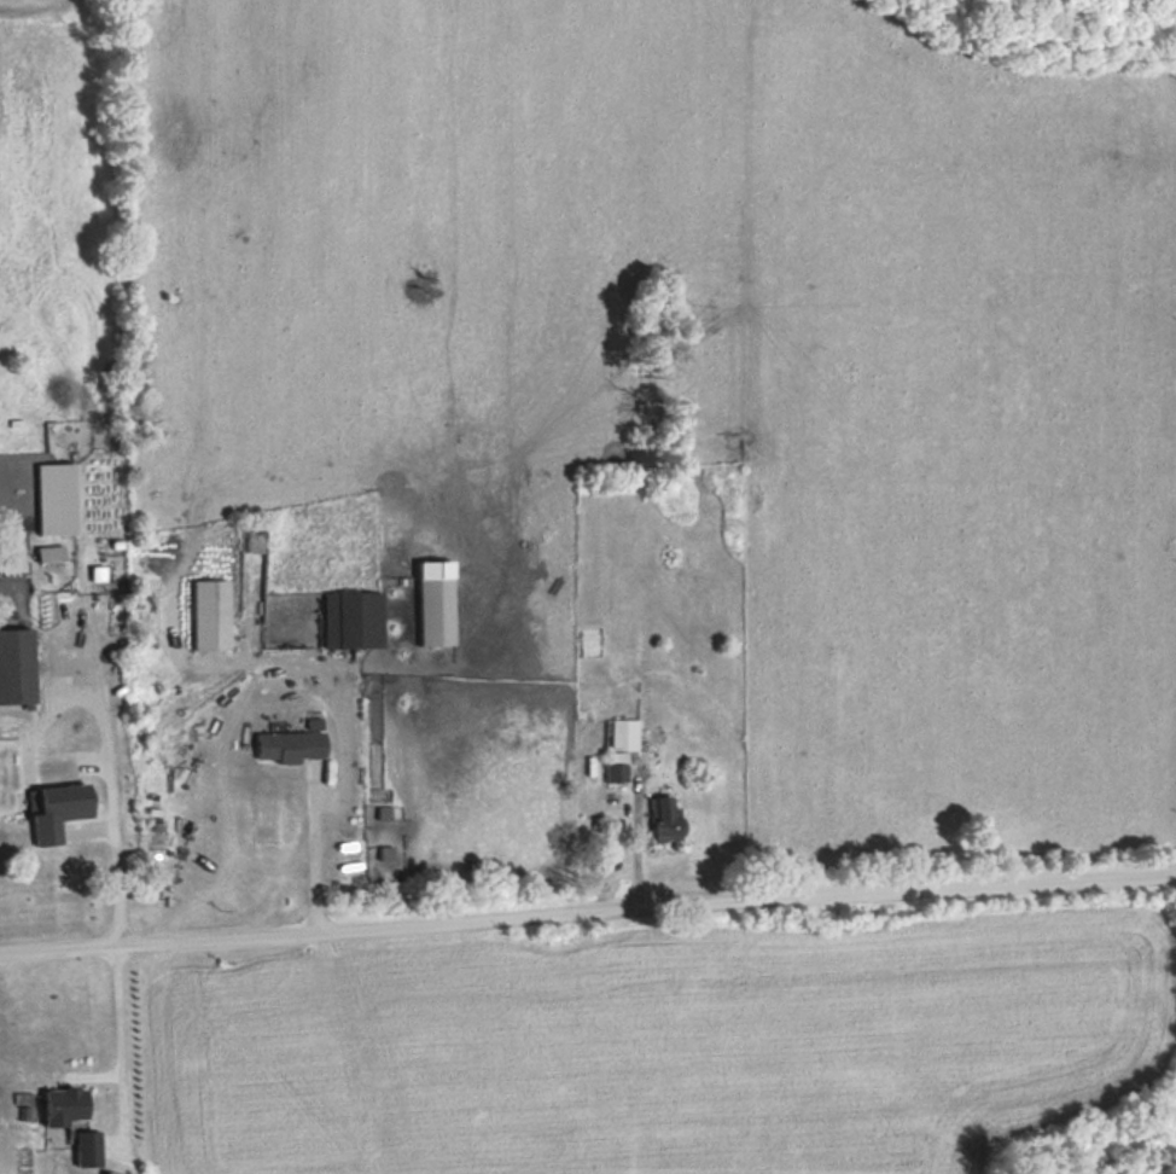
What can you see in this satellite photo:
building: (351, 621)
building: (16, 666)
building: (289, 745)
building: (621, 746)
road: (337, 766)
building: (59, 810)
road: (106, 813)
building: (666, 819)
road: (629, 833)
road: (587, 900)
road: (113, 1041)
building: (63, 1105)
building: (88, 1149)

